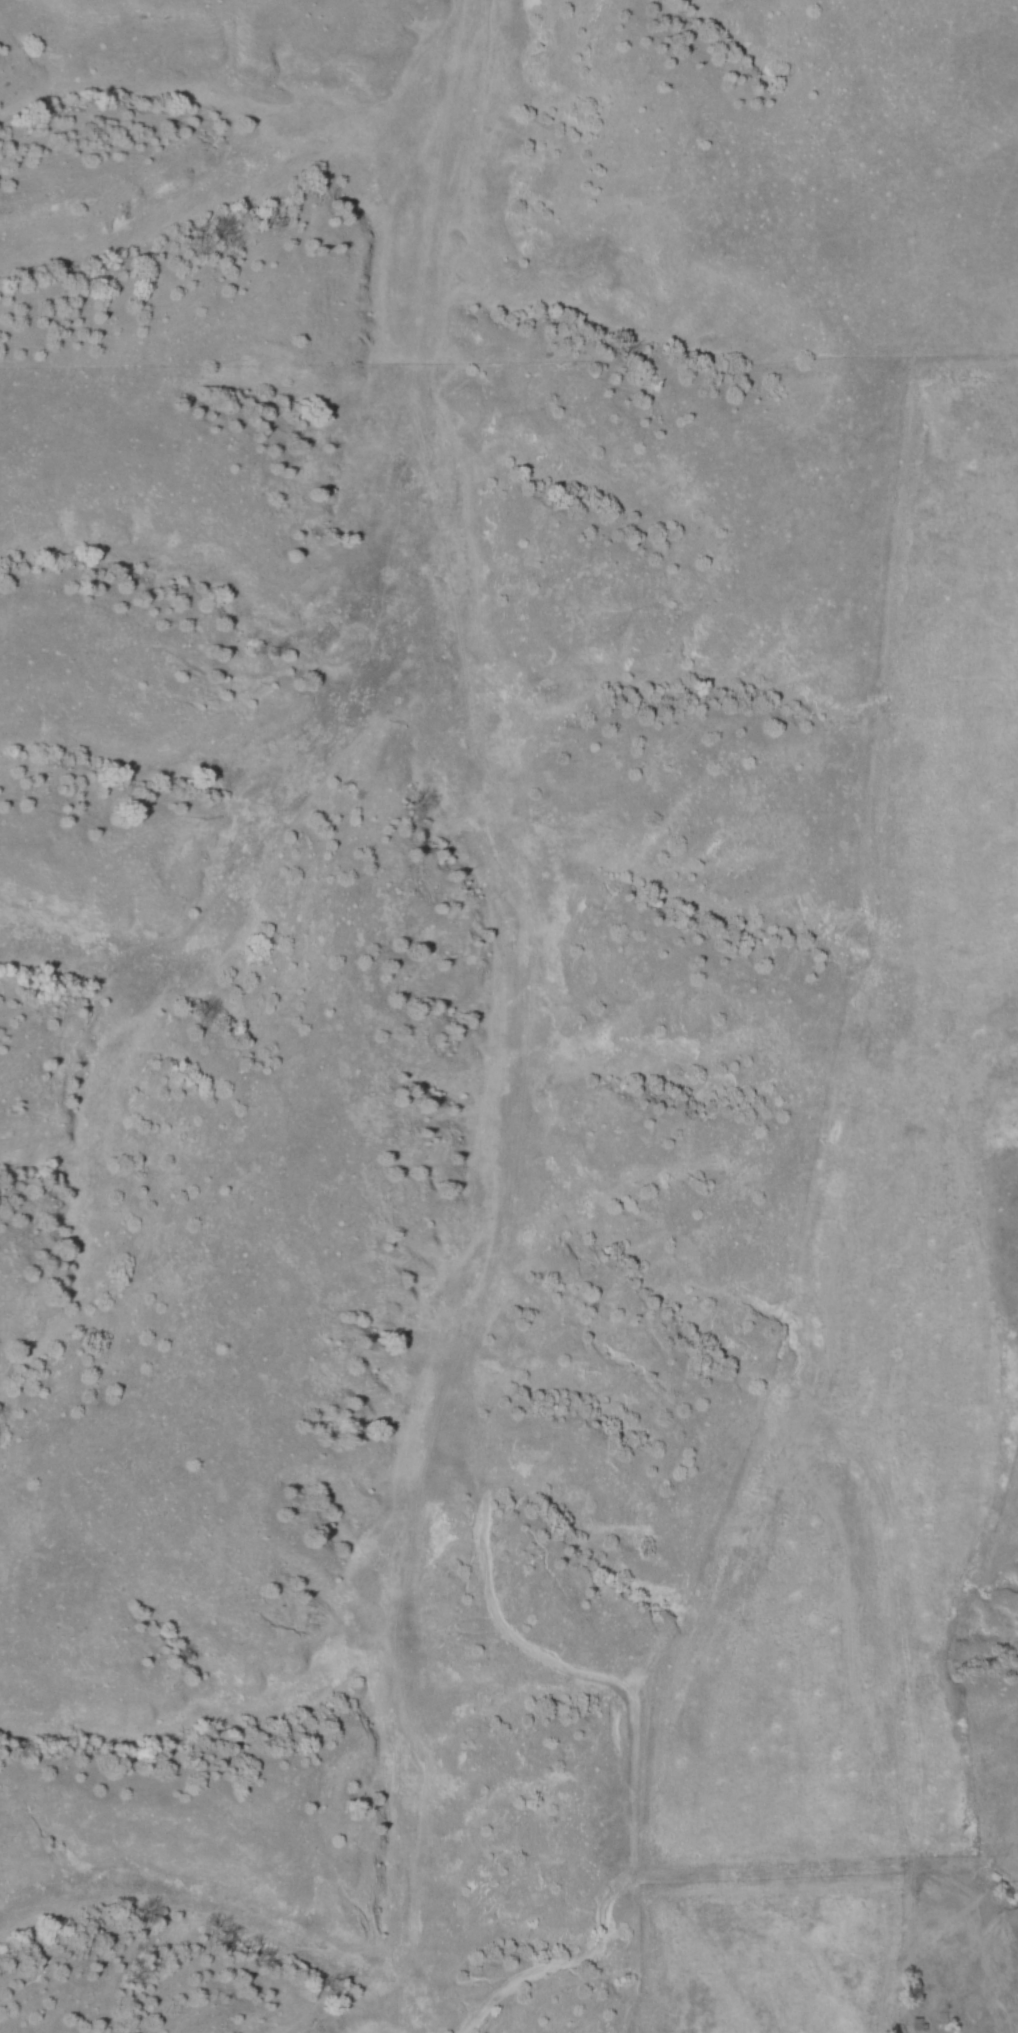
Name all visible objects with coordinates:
building: (949, 1941)
road: (966, 2001)

